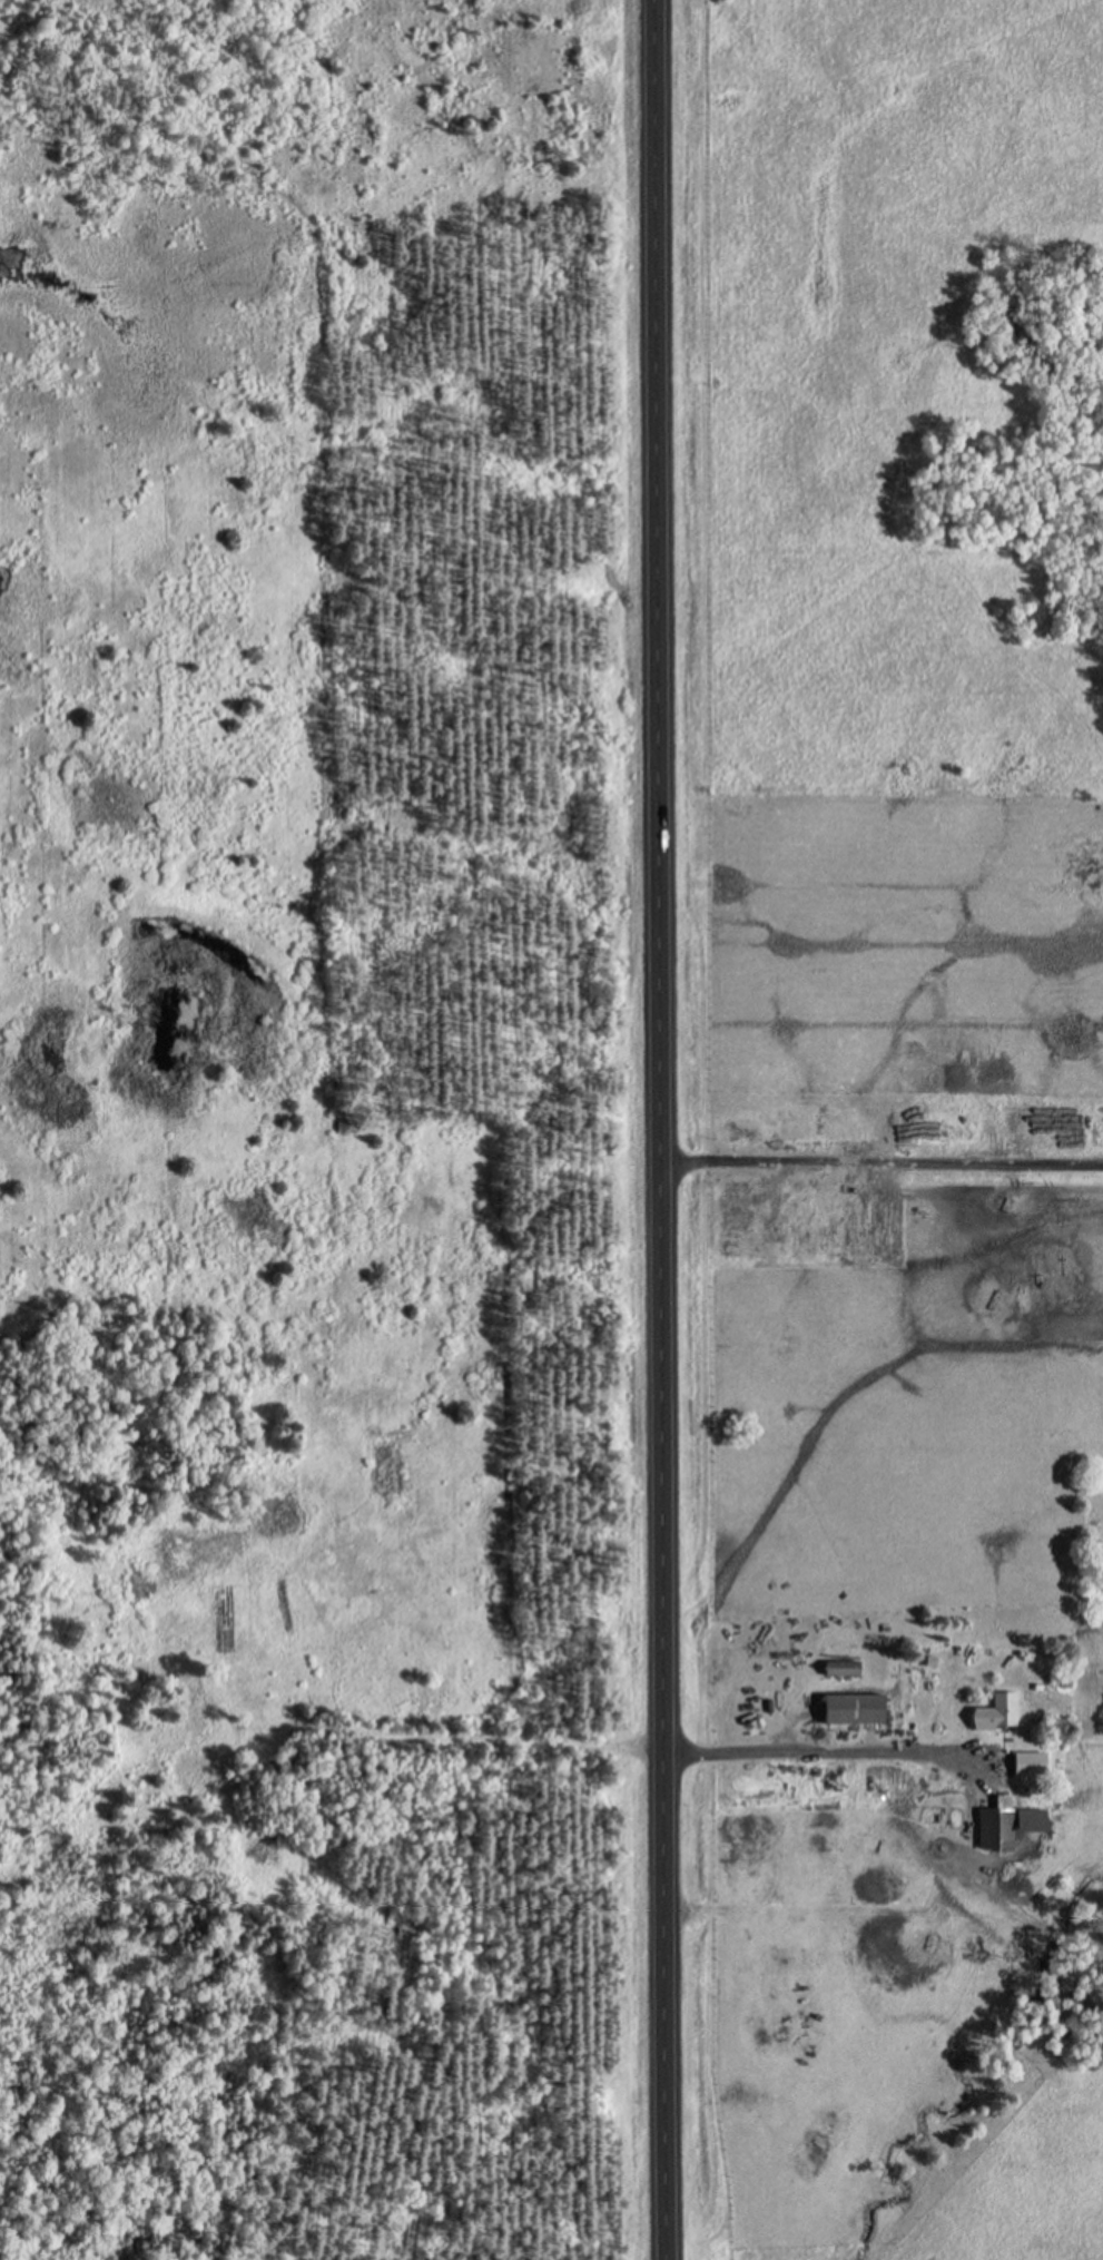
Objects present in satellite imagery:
road: (661, 1130)
building: (844, 1670)
building: (856, 1710)
building: (998, 1716)
building: (1031, 1766)
building: (1033, 1820)
building: (997, 1827)

